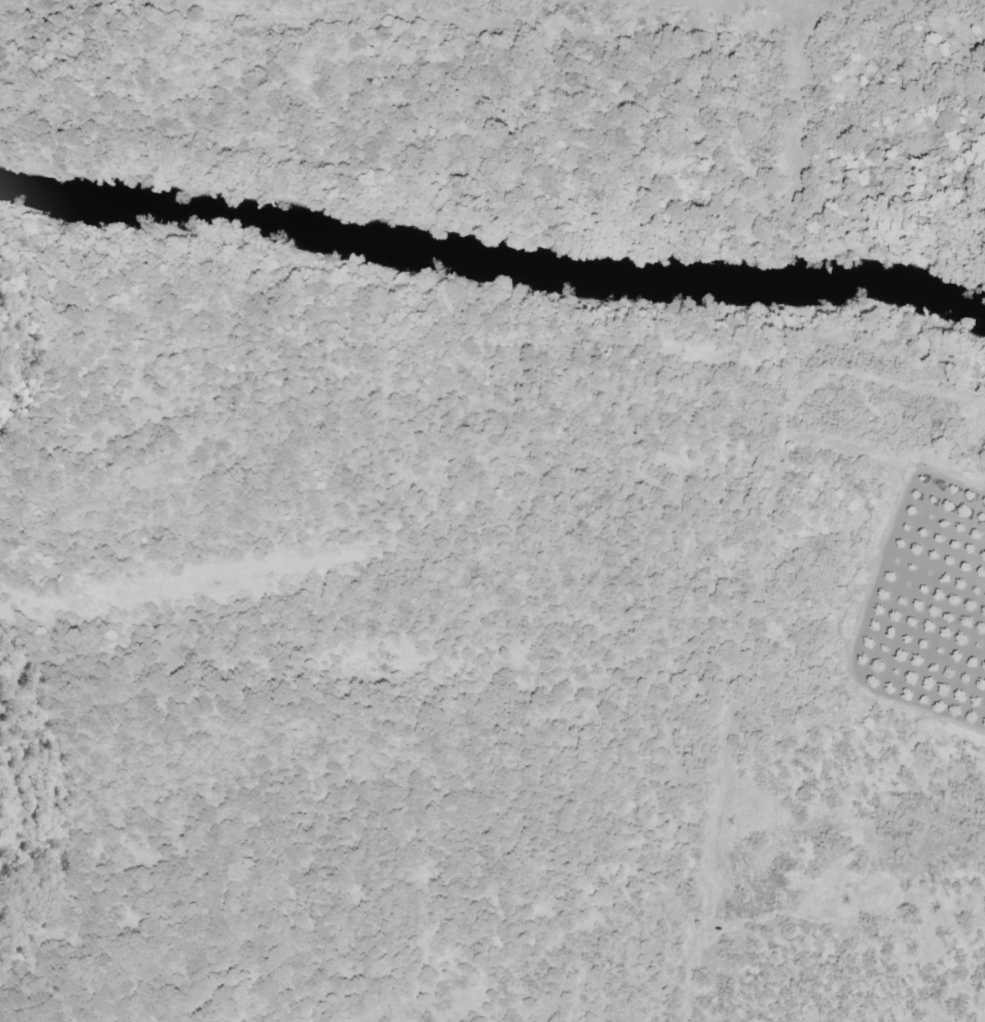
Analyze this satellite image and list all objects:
river: (493, 256)
road: (942, 412)

